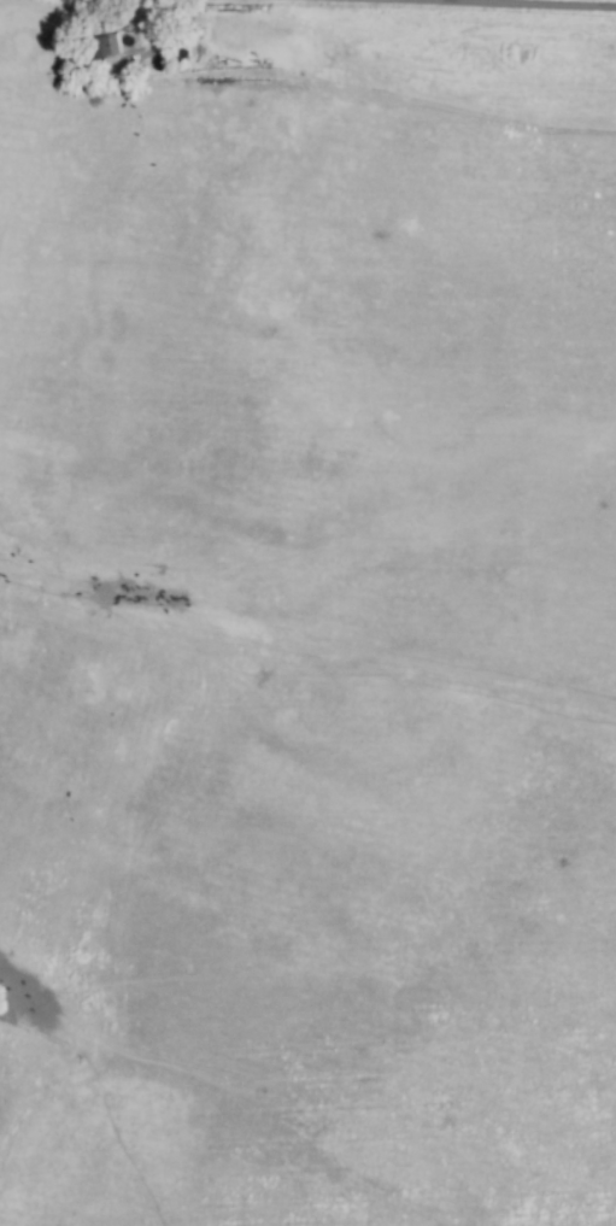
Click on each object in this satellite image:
road: (527, 4)
building: (106, 46)
crop: (307, 612)

